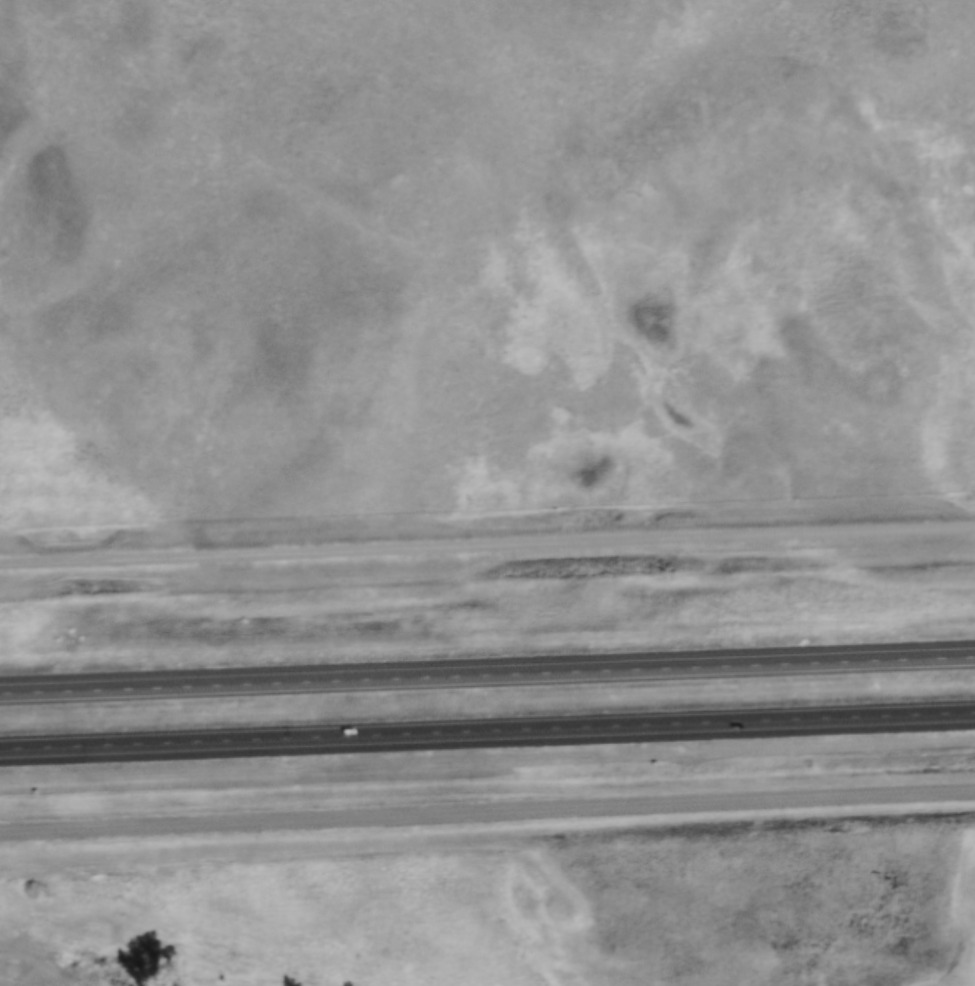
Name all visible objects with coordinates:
road: (487, 548)
road: (487, 678)
road: (487, 733)
road: (487, 814)

